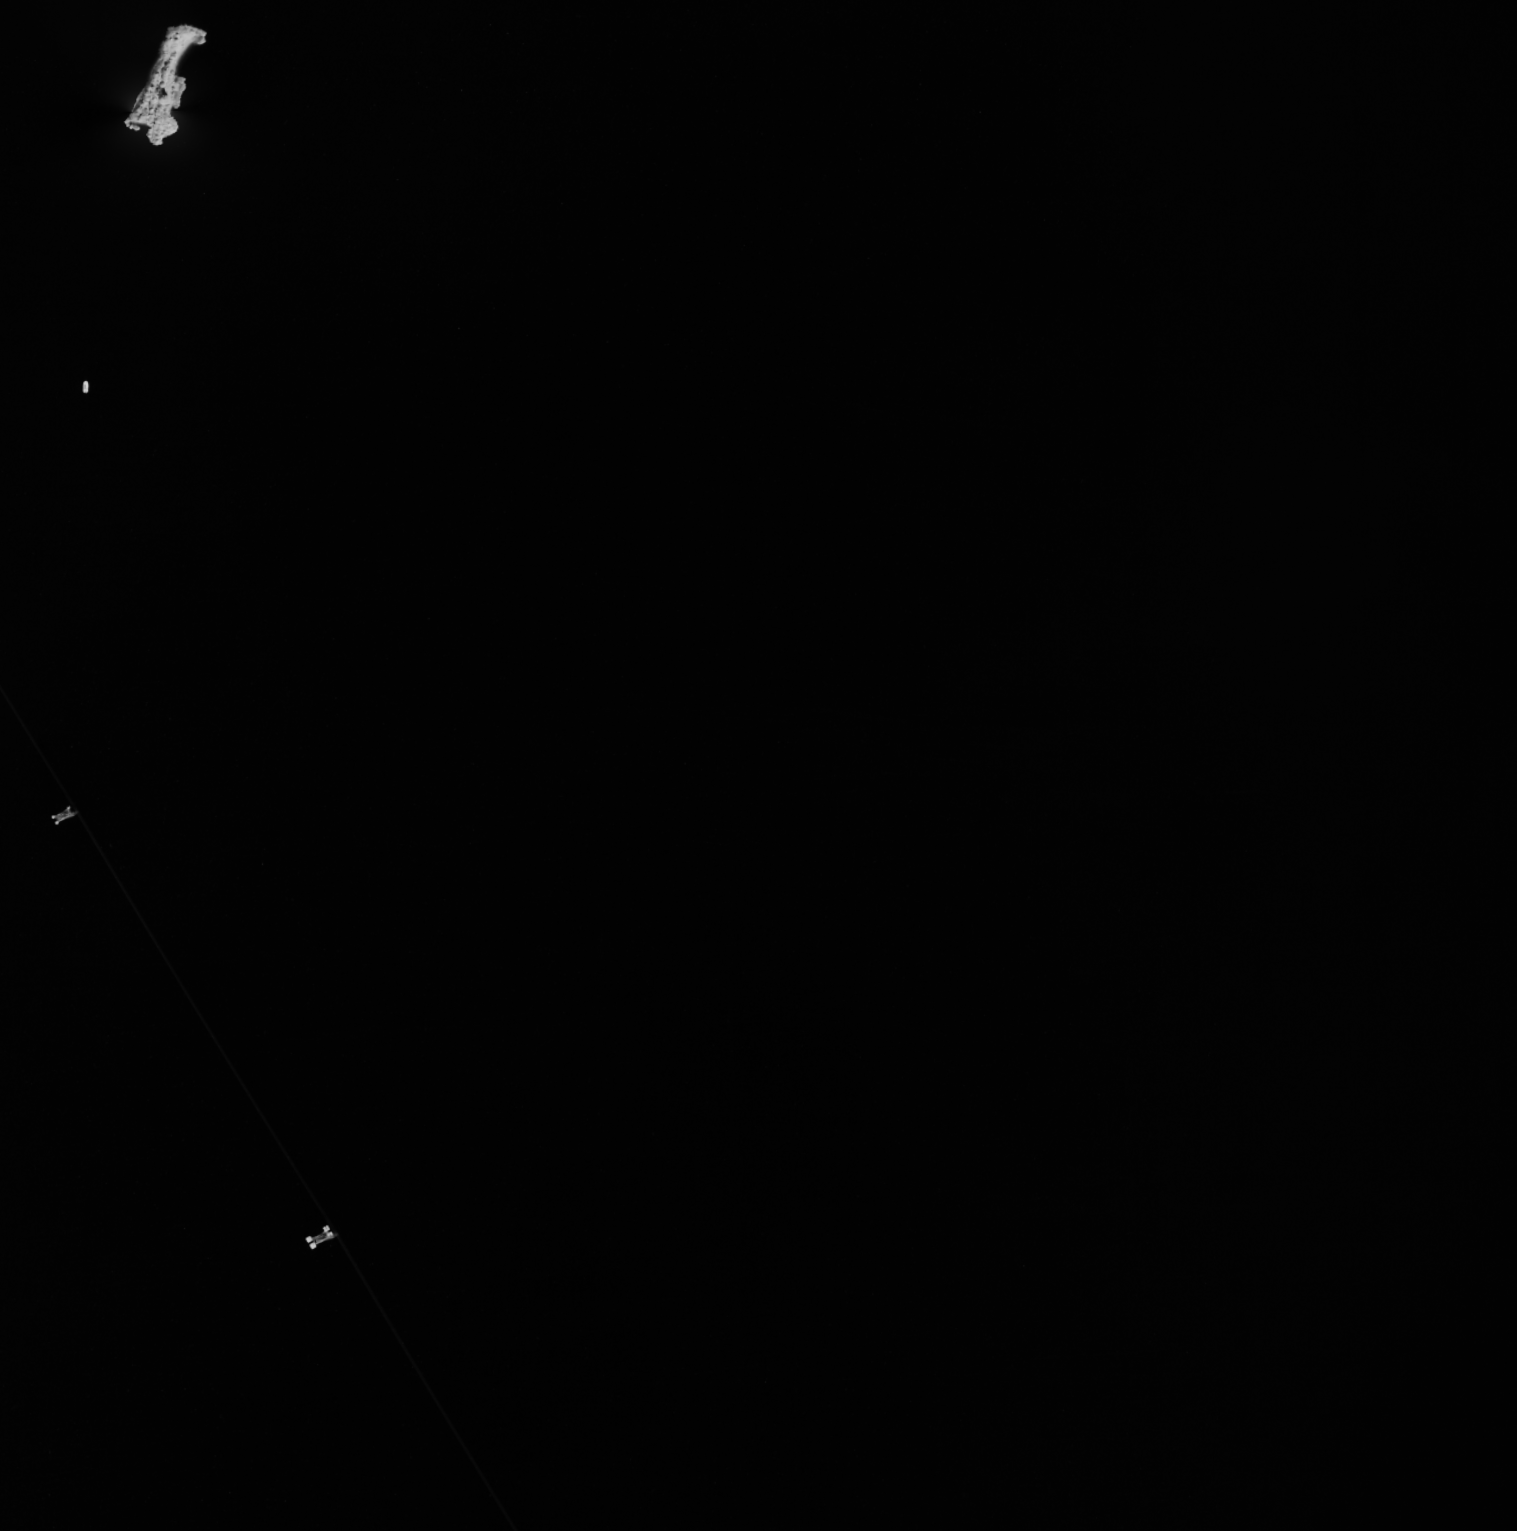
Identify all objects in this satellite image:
power tower: (60, 808)
power tower: (299, 1204)

